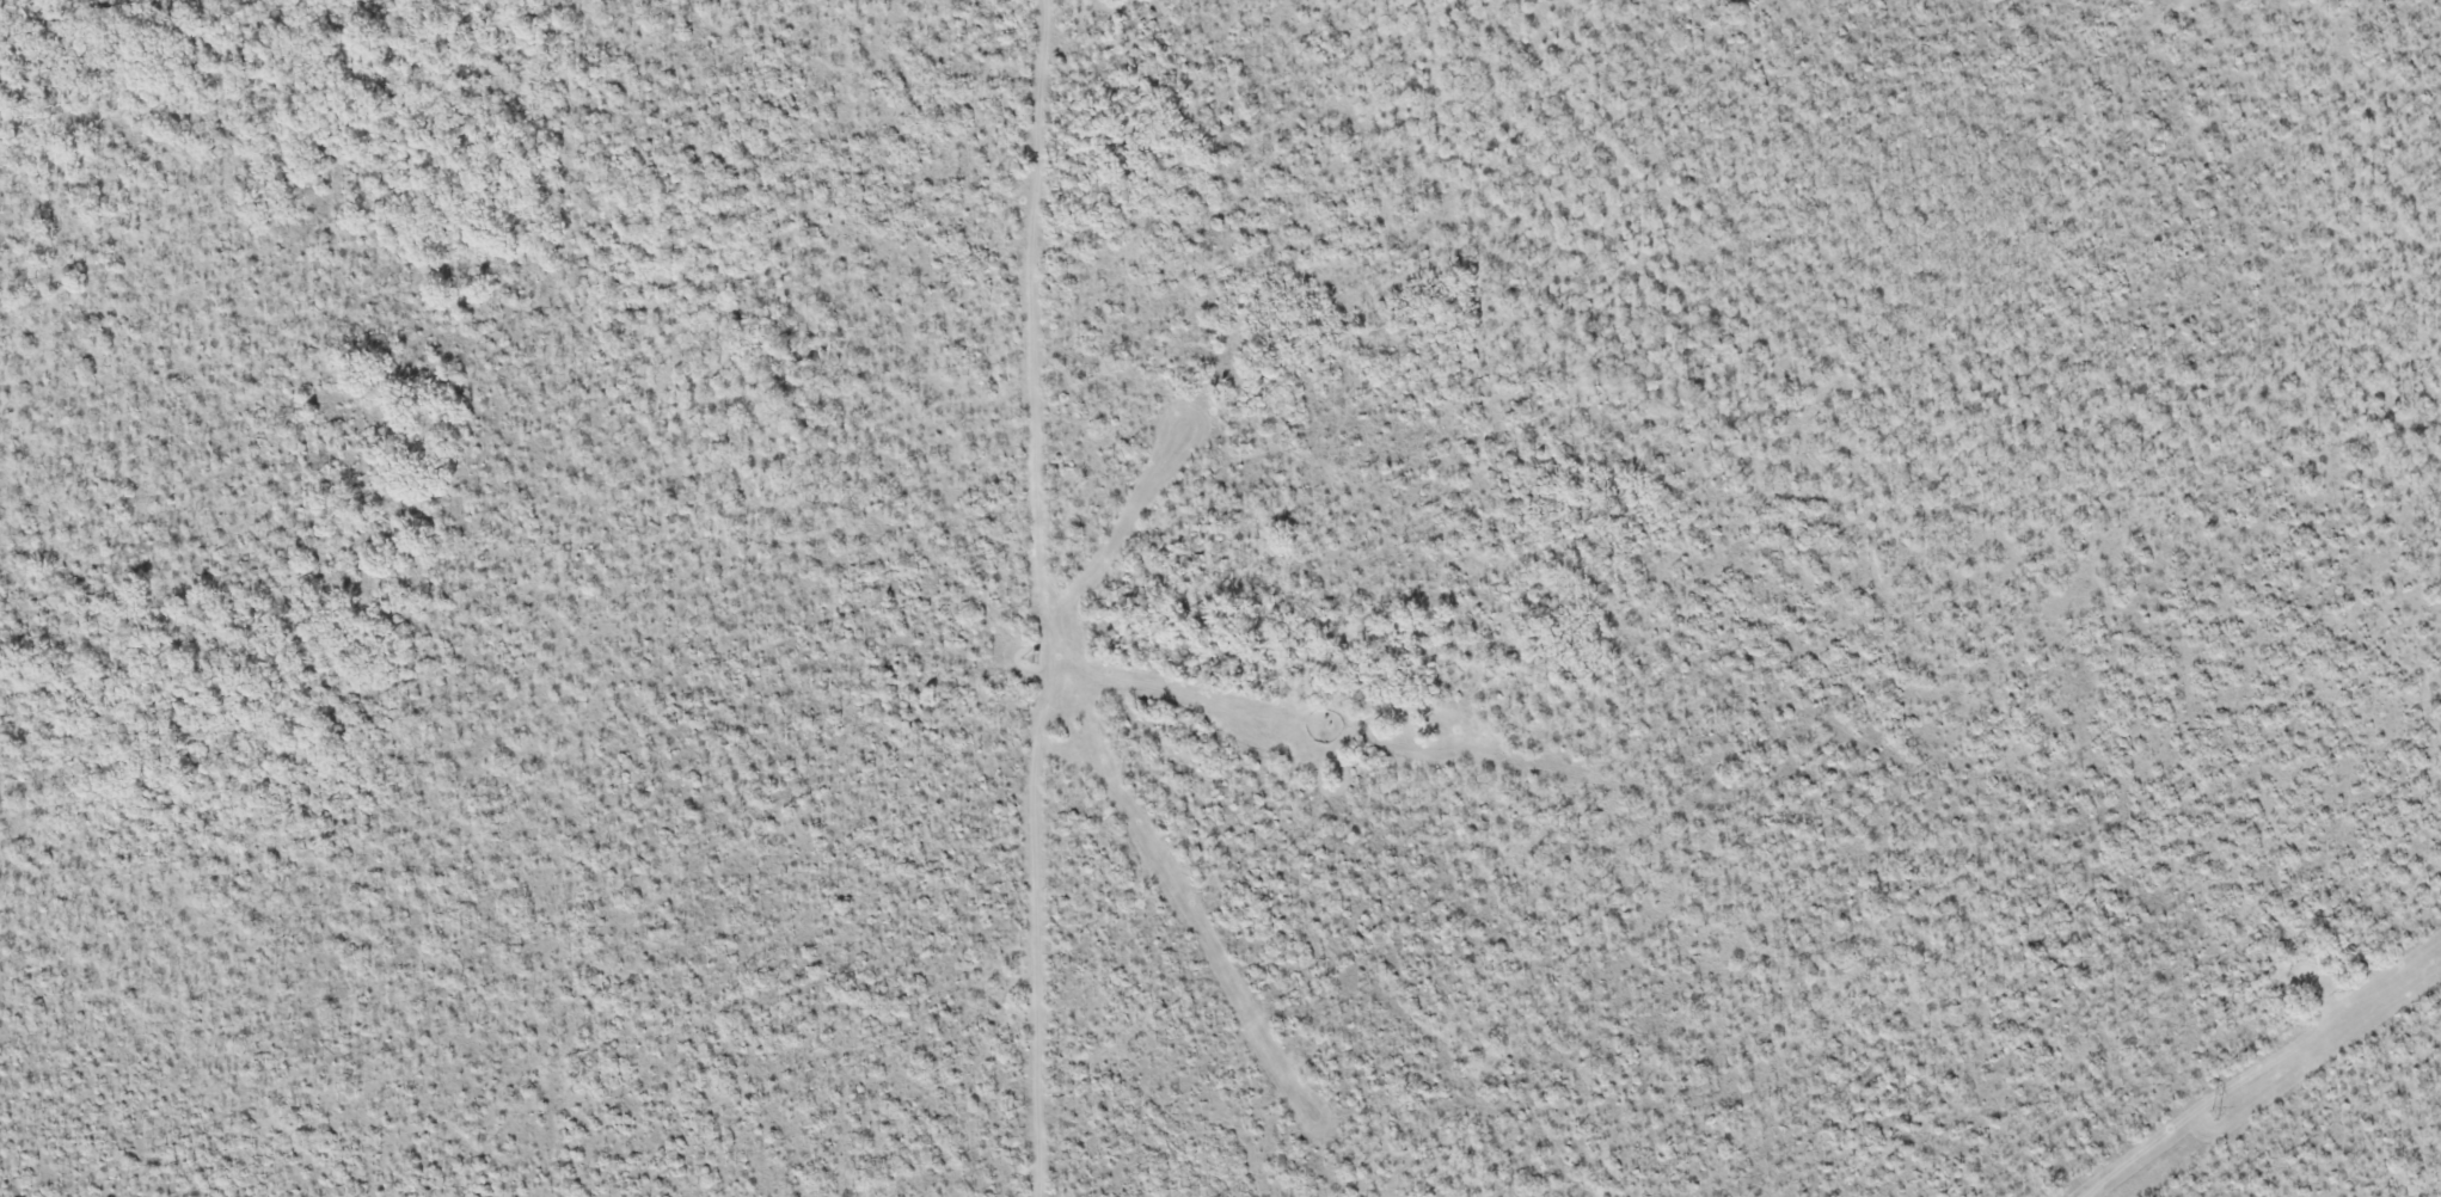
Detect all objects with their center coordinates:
power tower: (2215, 1113)

